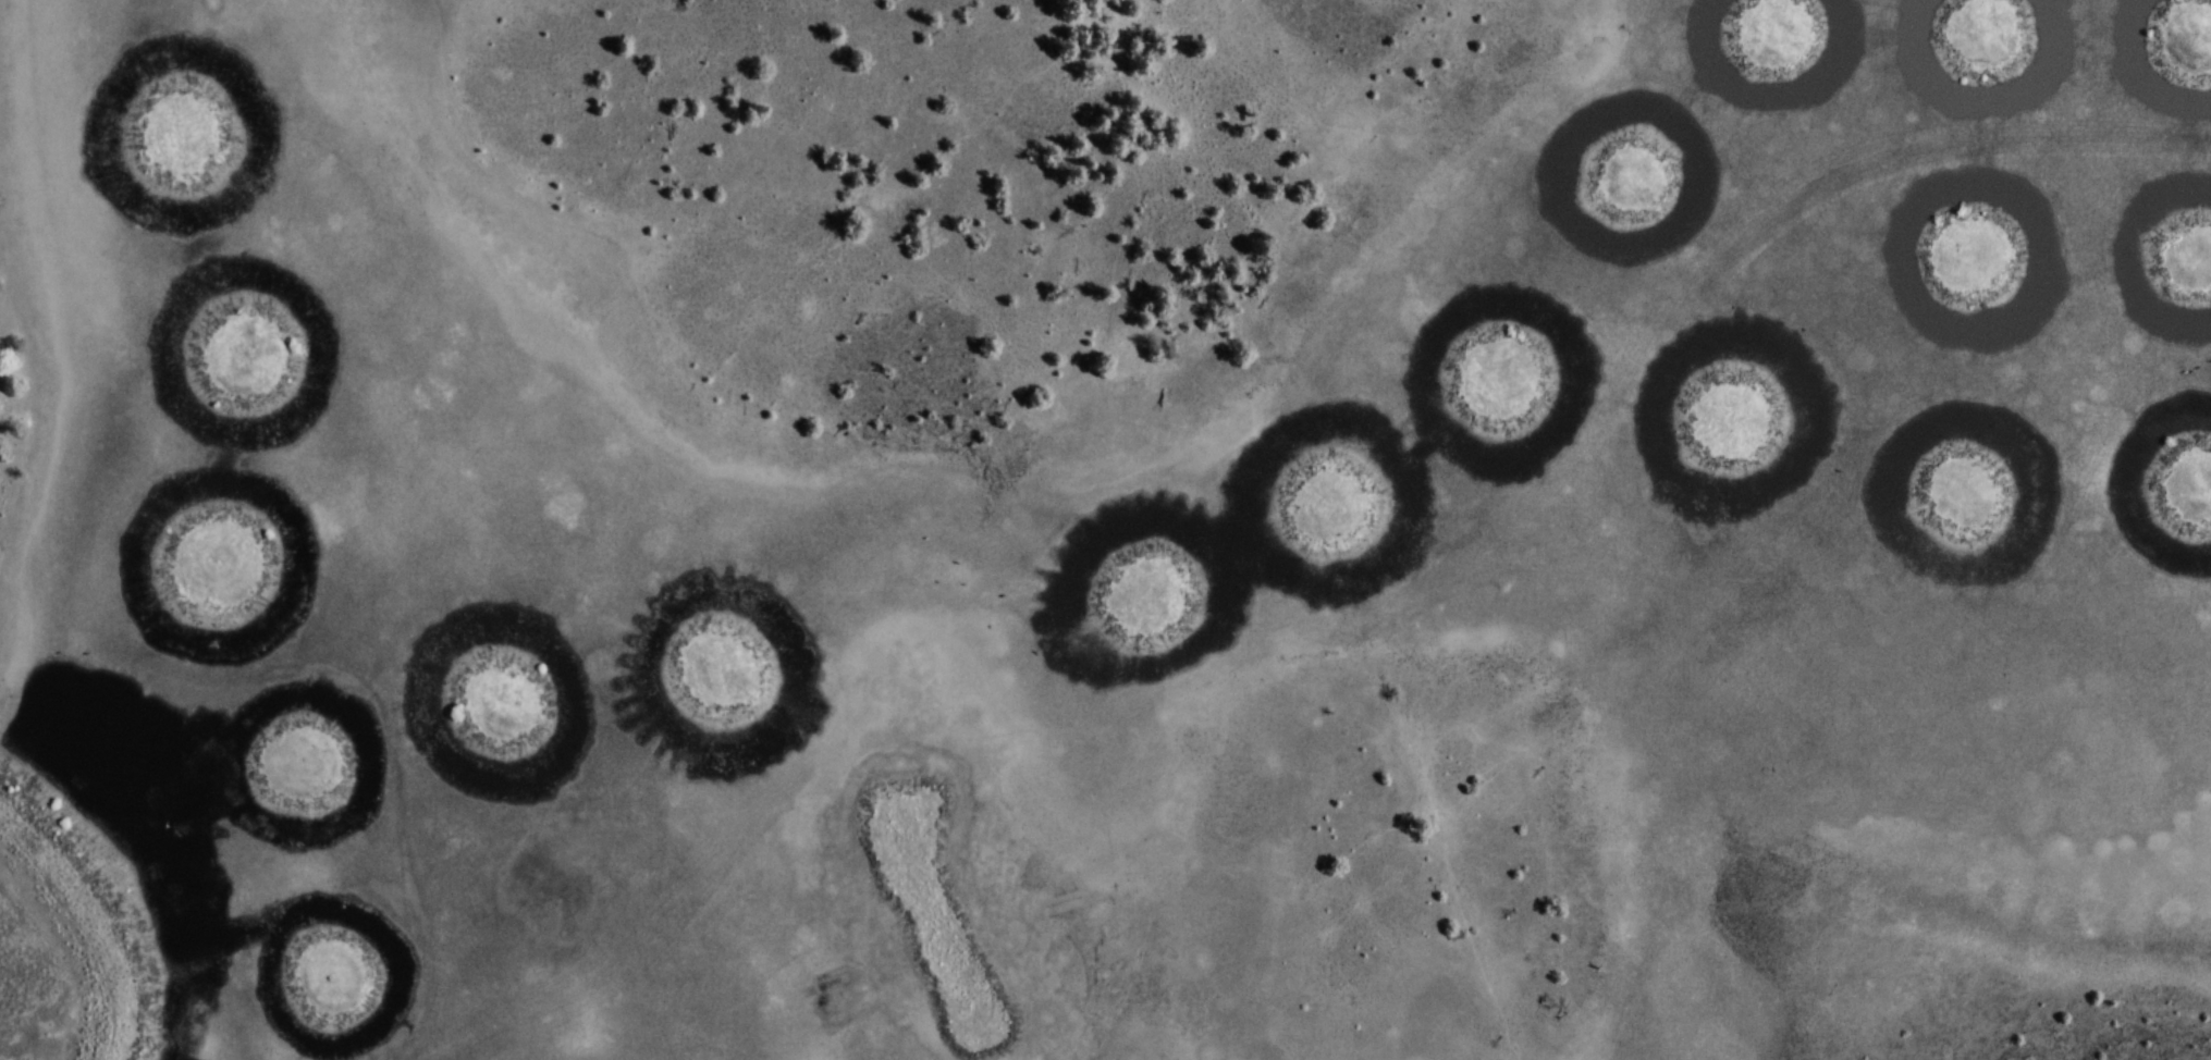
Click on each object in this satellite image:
dam: (123, 892)

